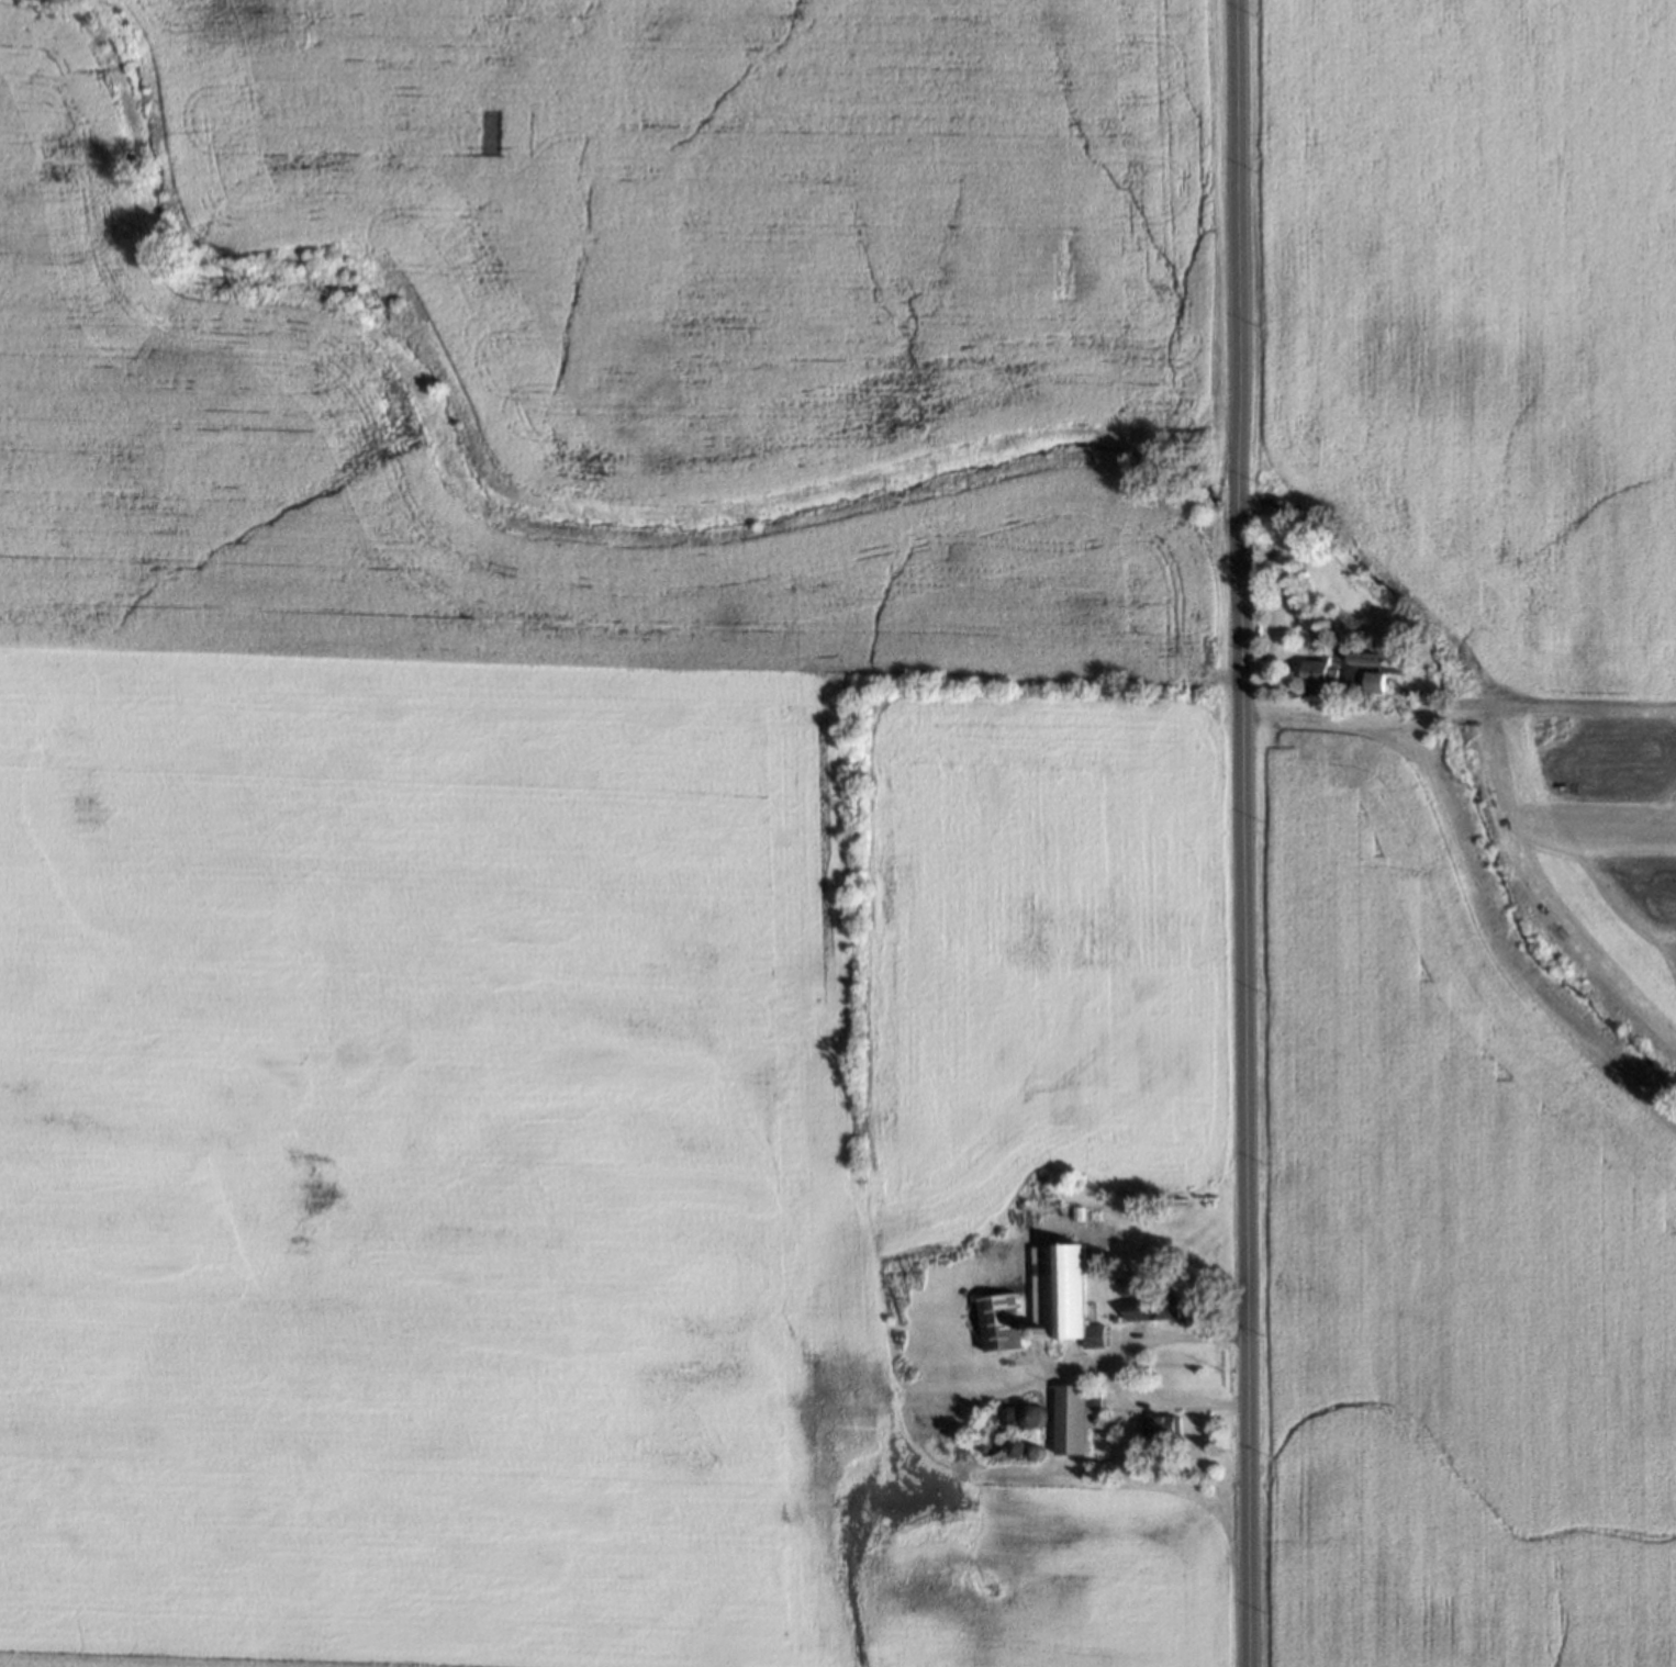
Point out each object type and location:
building: (1311, 653)
building: (1362, 657)
building: (1312, 674)
building: (1371, 681)
road: (1355, 720)
crop: (585, 812)
road: (1241, 832)
crop: (1446, 1260)
building: (1107, 1269)
building: (1053, 1280)
building: (1148, 1302)
building: (994, 1321)
building: (1088, 1330)
building: (1039, 1331)
road: (1114, 1368)
building: (1005, 1411)
building: (1028, 1412)
building: (1069, 1414)
building: (1158, 1421)
building: (1010, 1443)
building: (1028, 1447)

